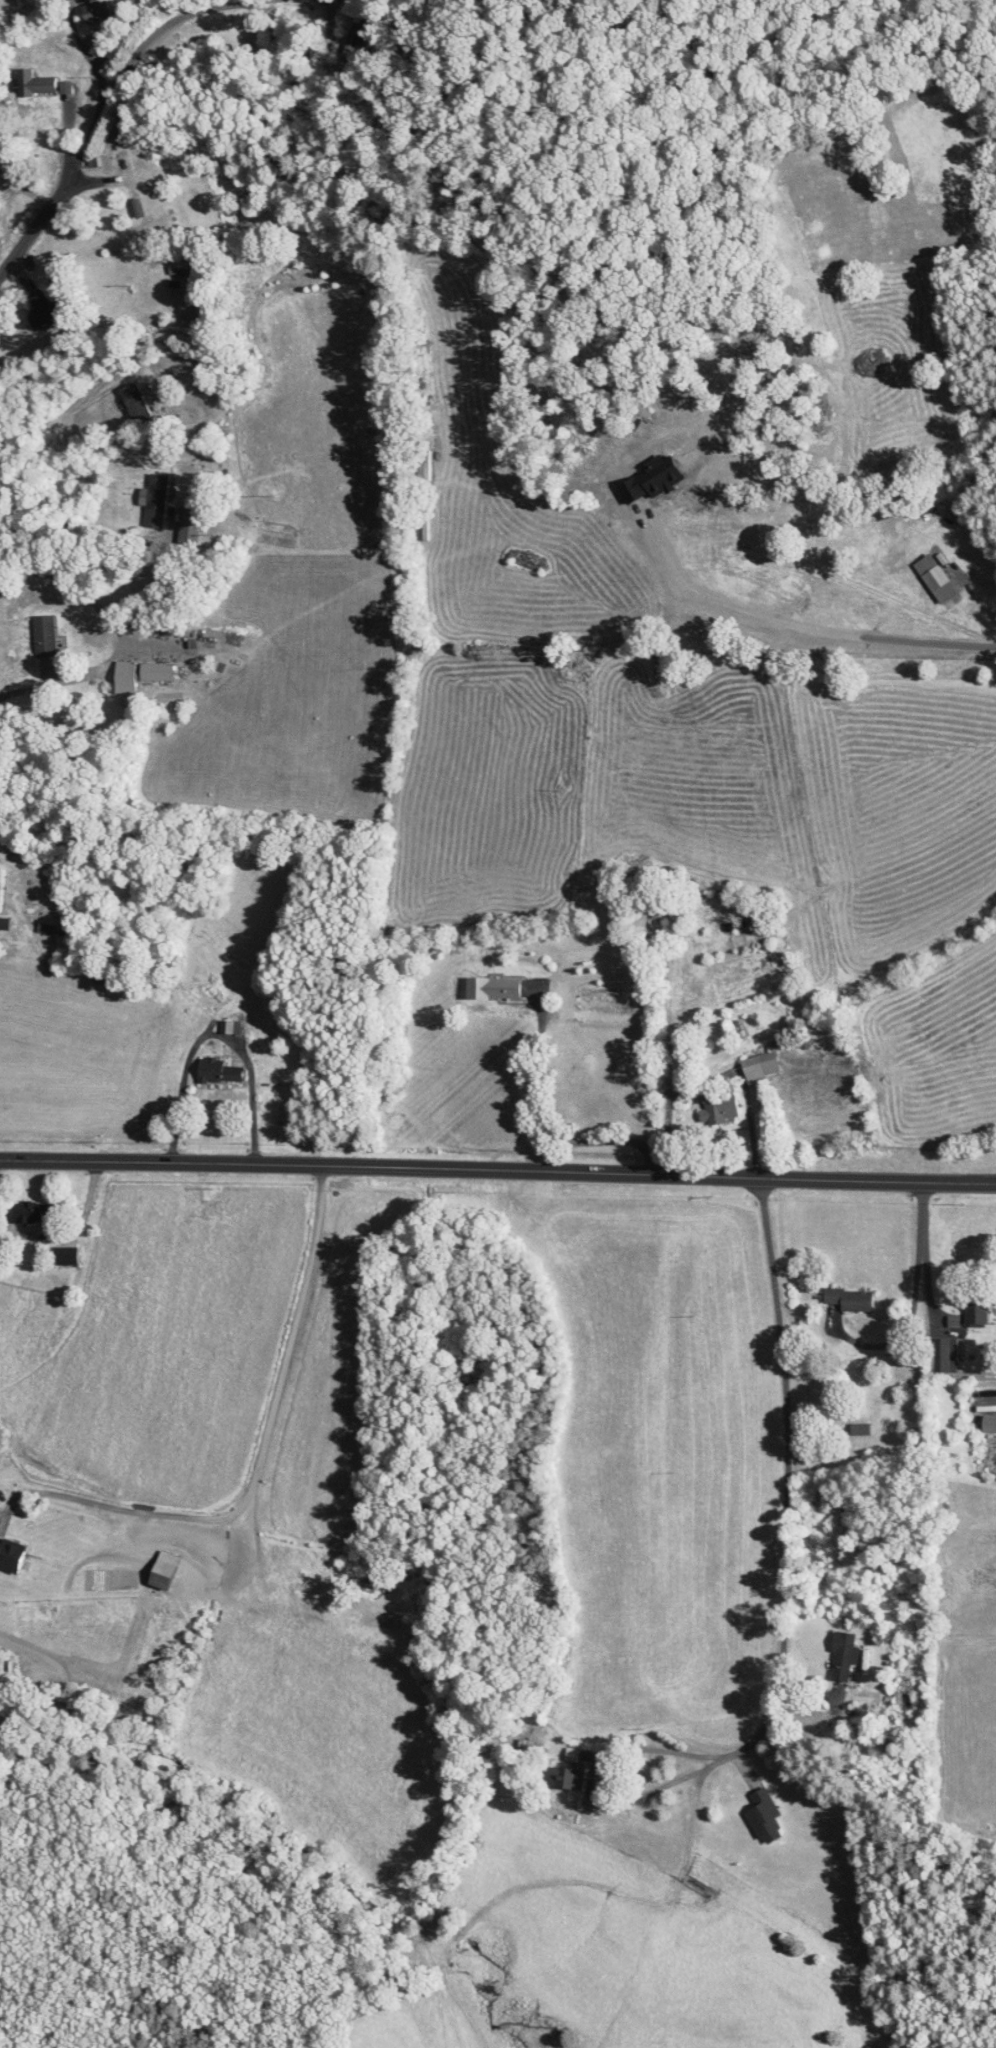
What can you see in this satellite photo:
building: (94, 14)
road: (89, 57)
building: (36, 83)
road: (106, 104)
building: (116, 159)
building: (98, 162)
building: (176, 268)
building: (47, 309)
road: (82, 393)
building: (136, 403)
building: (155, 501)
building: (188, 525)
road: (845, 578)
building: (931, 579)
building: (48, 635)
road: (116, 636)
building: (141, 678)
building: (1, 889)
building: (106, 977)
building: (489, 989)
building: (228, 1028)
building: (757, 1066)
building: (214, 1072)
building: (717, 1107)
road: (587, 1138)
road: (498, 1169)
building: (26, 1213)
building: (62, 1256)
building: (848, 1300)
building: (972, 1315)
building: (858, 1430)
road: (259, 1459)
road: (788, 1478)
building: (10, 1556)
building: (160, 1571)
building: (838, 1657)
building: (568, 1770)
building: (761, 1817)

